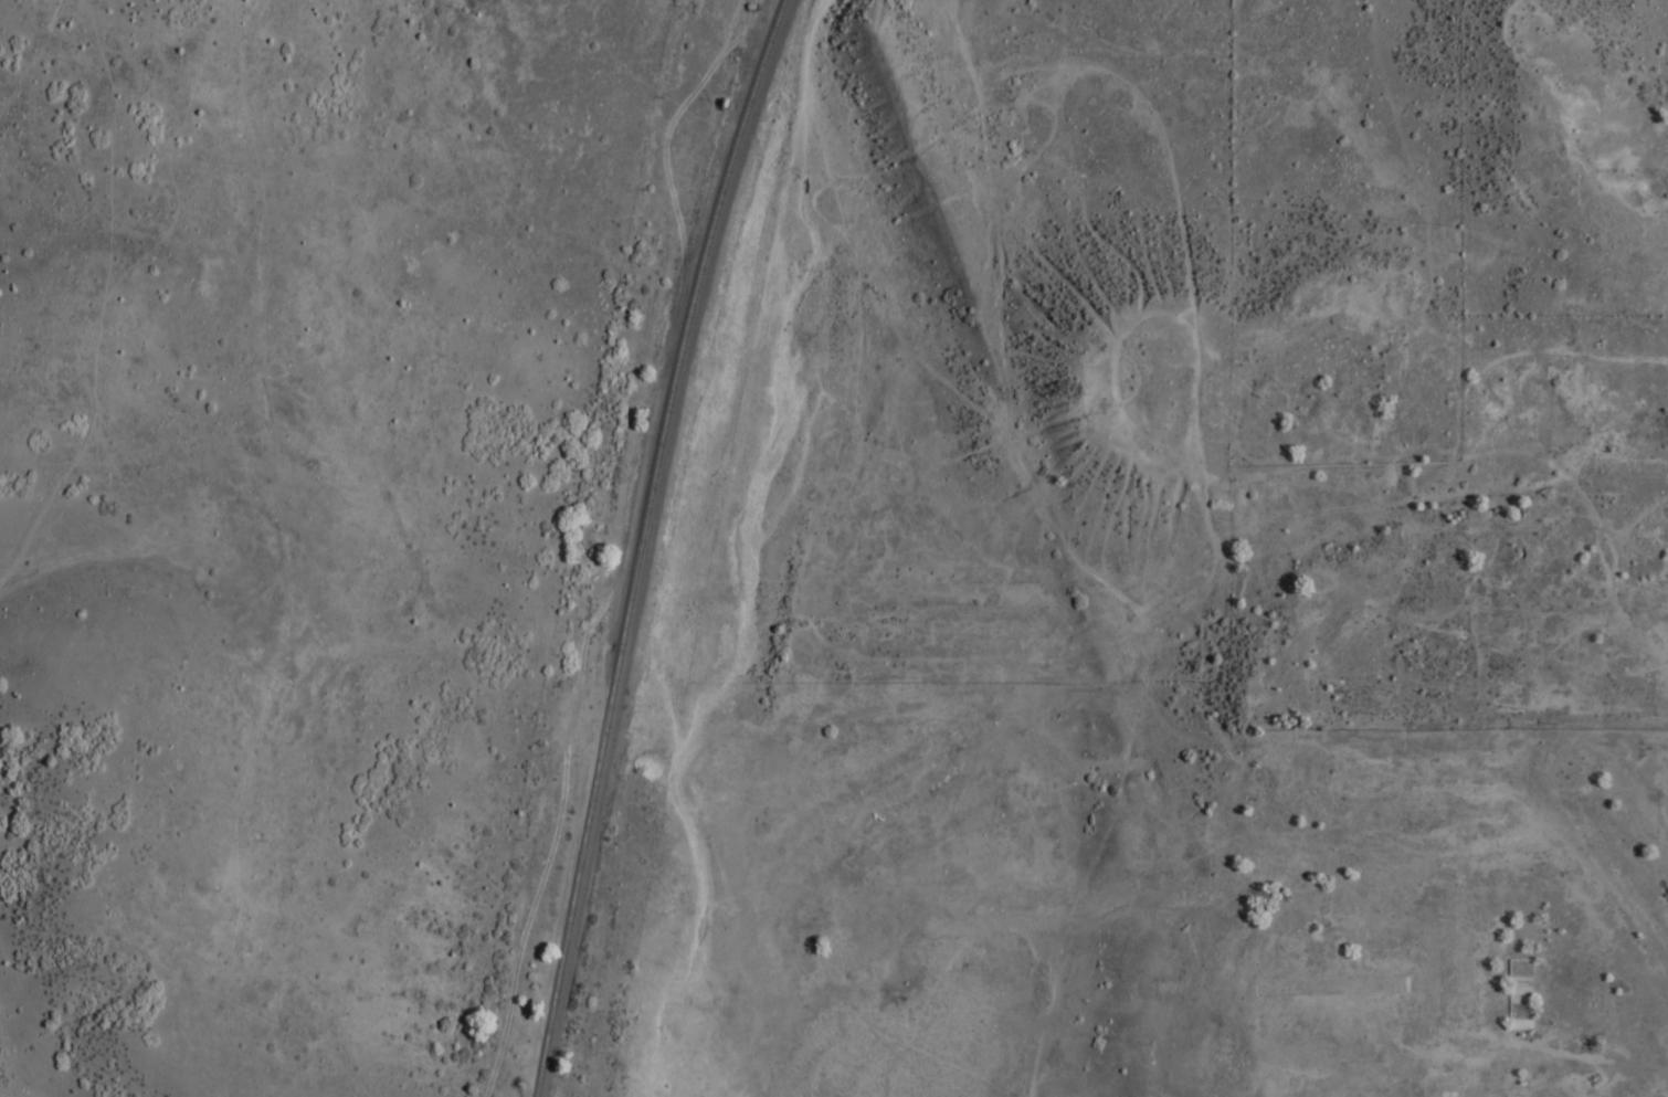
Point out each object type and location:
railway: (657, 433)
park: (1615, 873)
railway: (552, 985)
road: (230, 1057)

